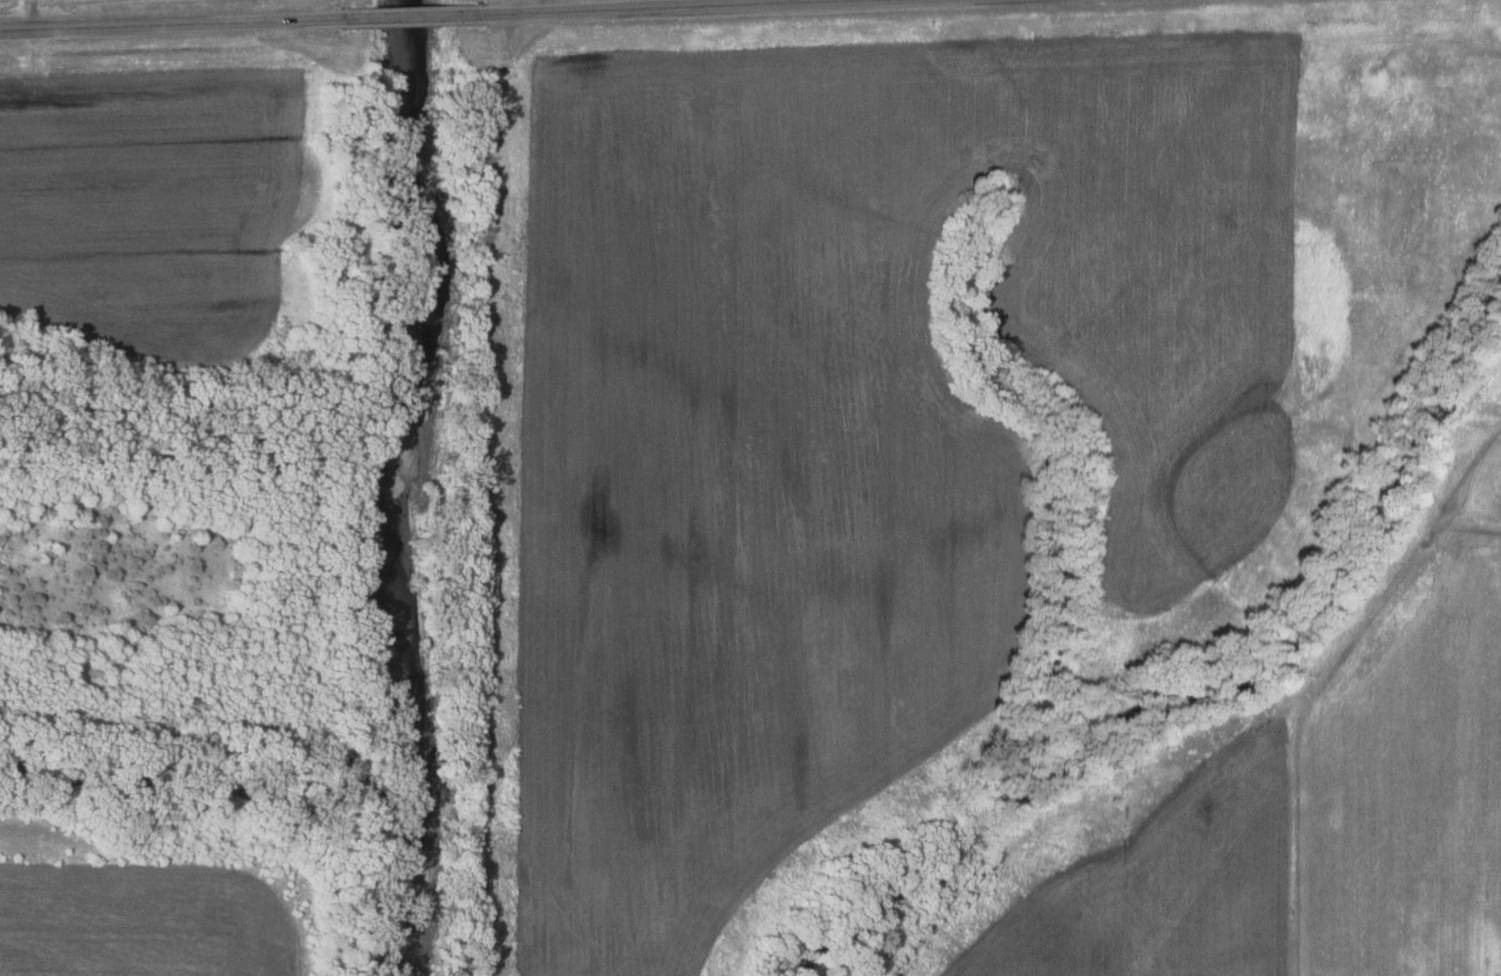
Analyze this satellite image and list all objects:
road: (668, 7)
road: (405, 17)
road: (170, 24)

